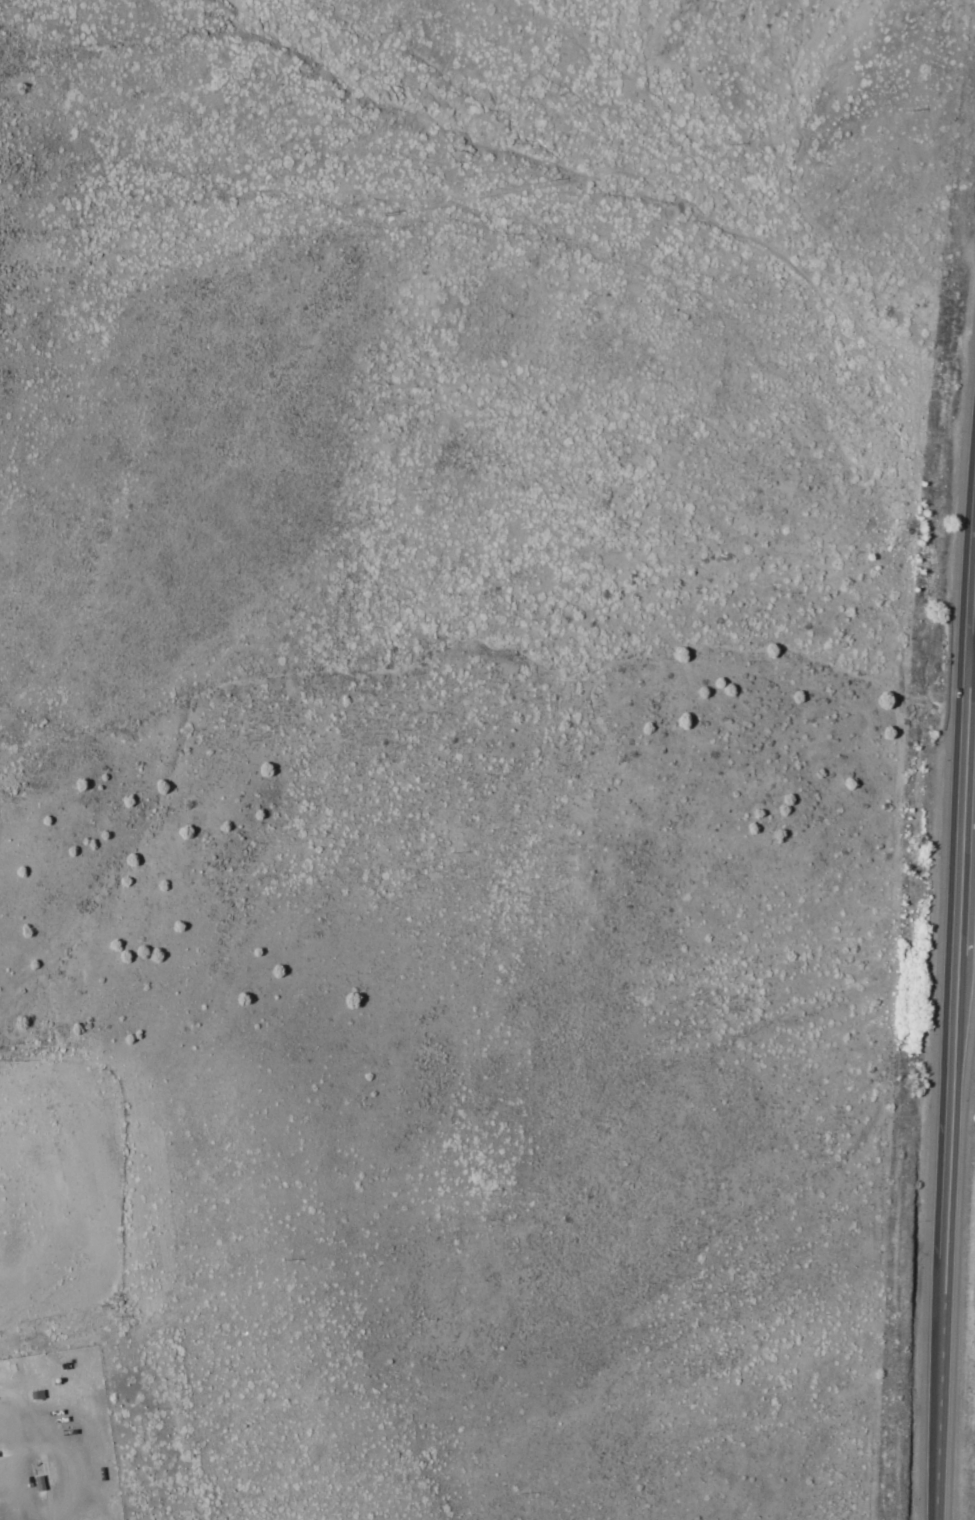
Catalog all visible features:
road: (973, 660)
road: (954, 1060)

